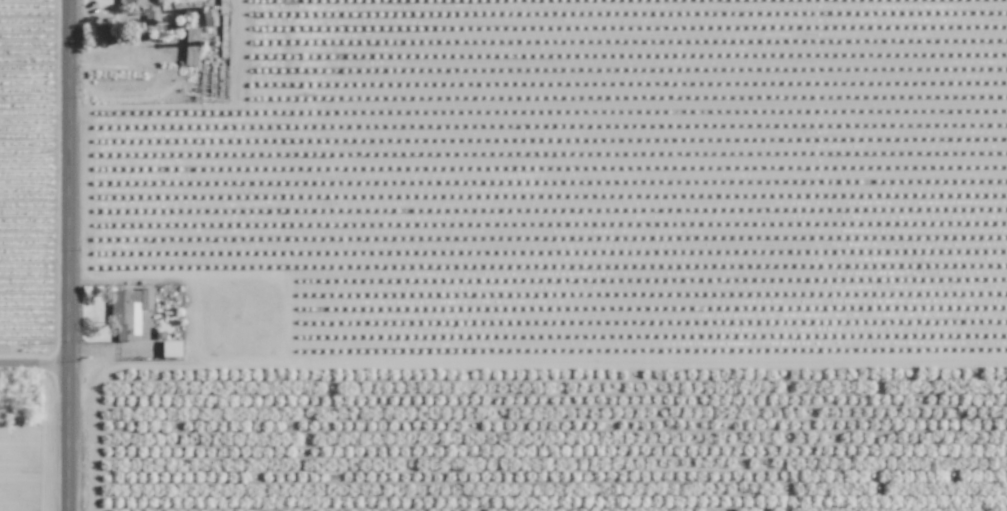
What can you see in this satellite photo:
building: (223, 6)
building: (151, 16)
building: (191, 47)
road: (76, 255)
building: (128, 312)
building: (171, 349)
road: (38, 371)

